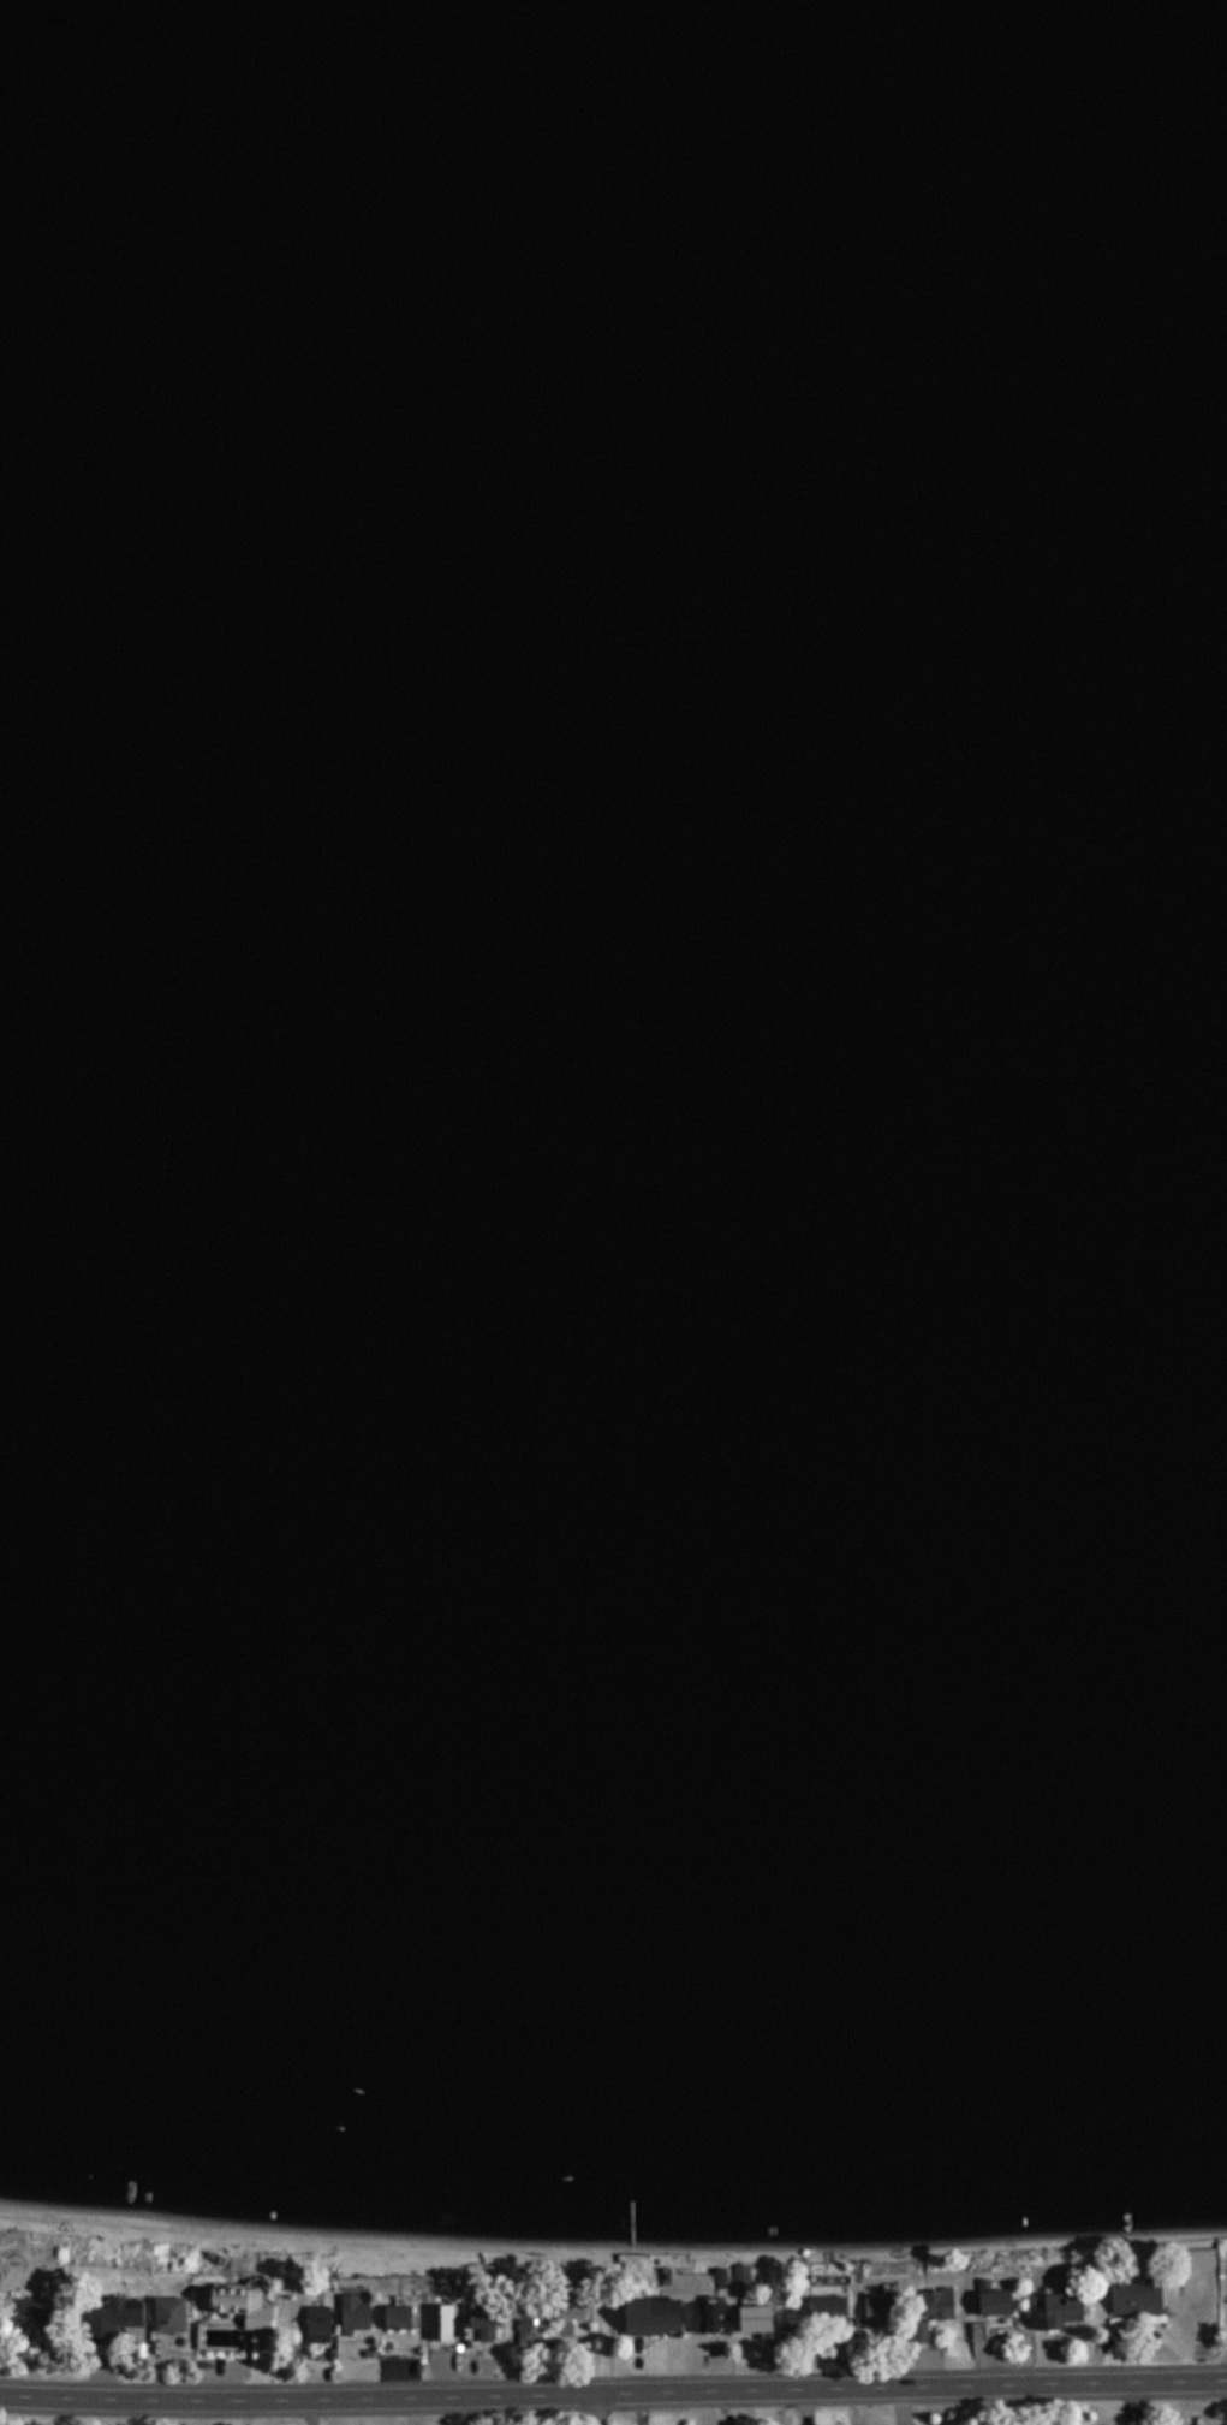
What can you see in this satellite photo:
building: (1132, 2299)
building: (991, 2304)
building: (935, 2305)
building: (237, 2307)
building: (29, 2311)
building: (1055, 2311)
building: (878, 2312)
building: (826, 2313)
building: (168, 2314)
building: (352, 2317)
building: (398, 2317)
building: (648, 2318)
building: (708, 2319)
building: (113, 2320)
building: (752, 2320)
building: (440, 2323)
building: (573, 2324)
building: (316, 2325)
building: (530, 2326)
building: (480, 2330)
road: (613, 2390)
road: (610, 2408)
road: (322, 2411)

